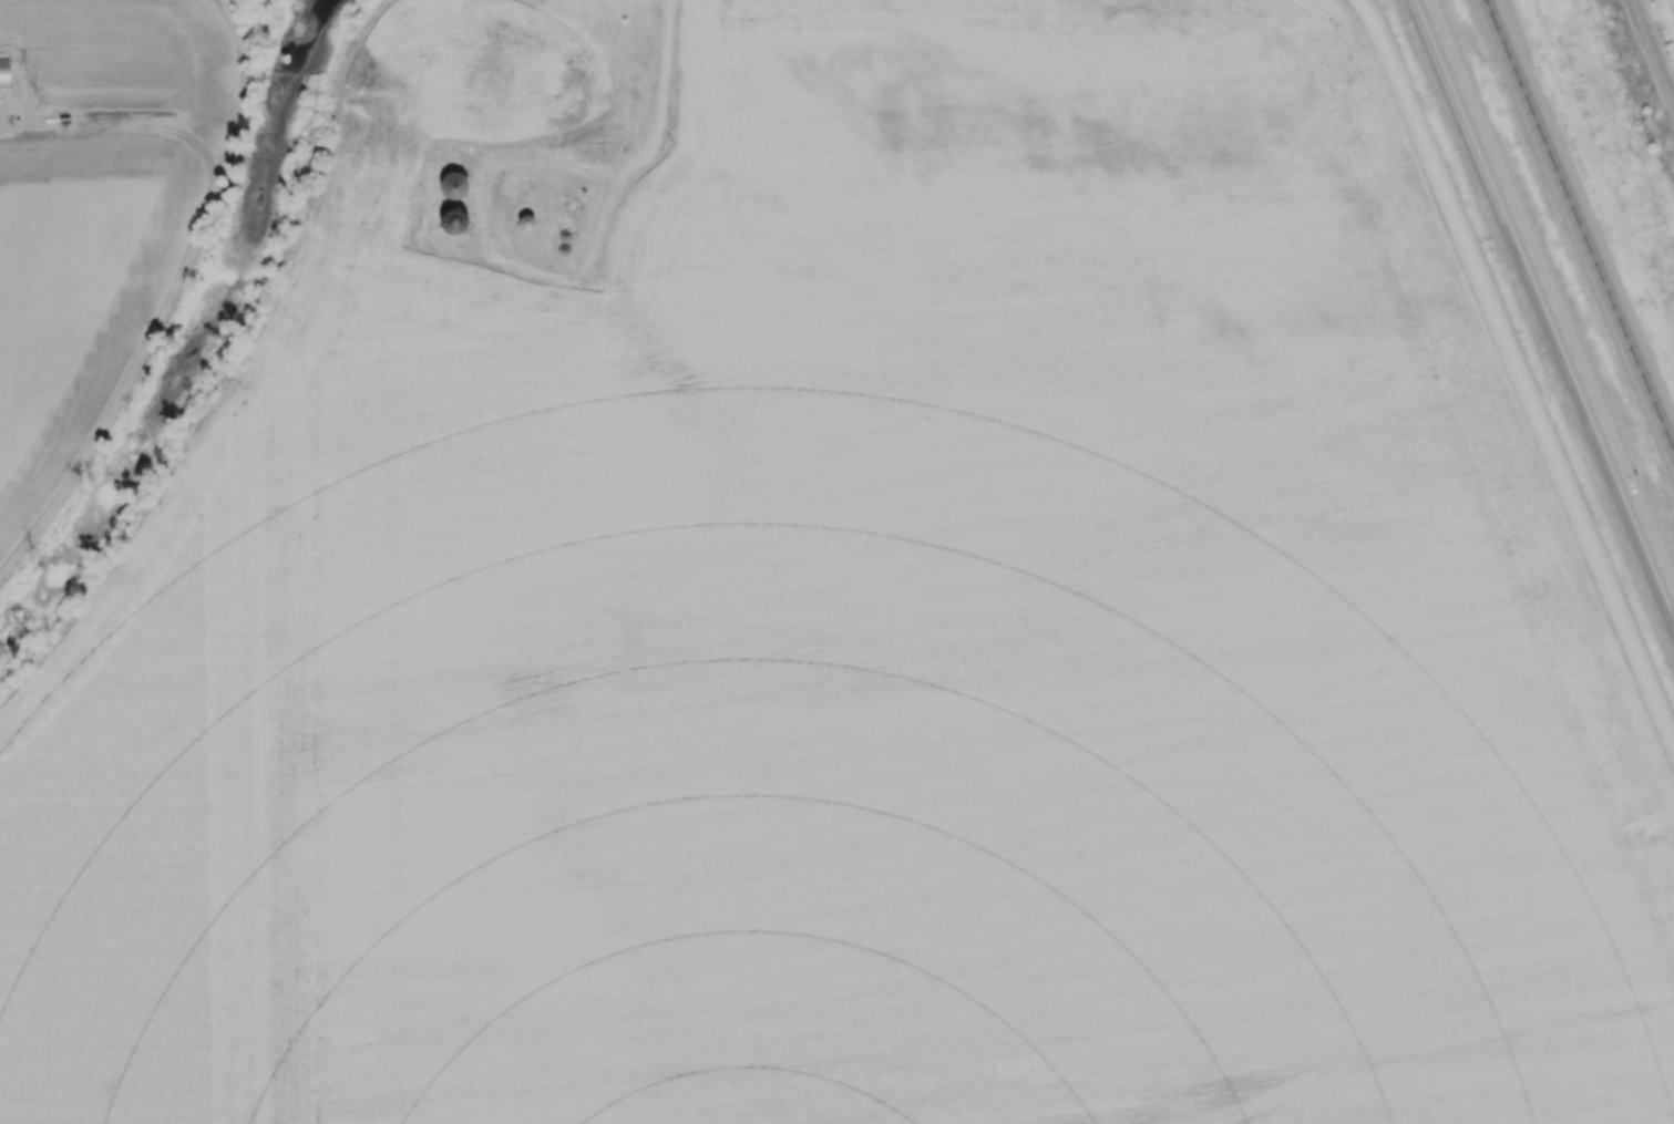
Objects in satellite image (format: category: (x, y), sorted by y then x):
railway: (1653, 50)
road: (1579, 226)
road: (1547, 301)
road: (1519, 370)

